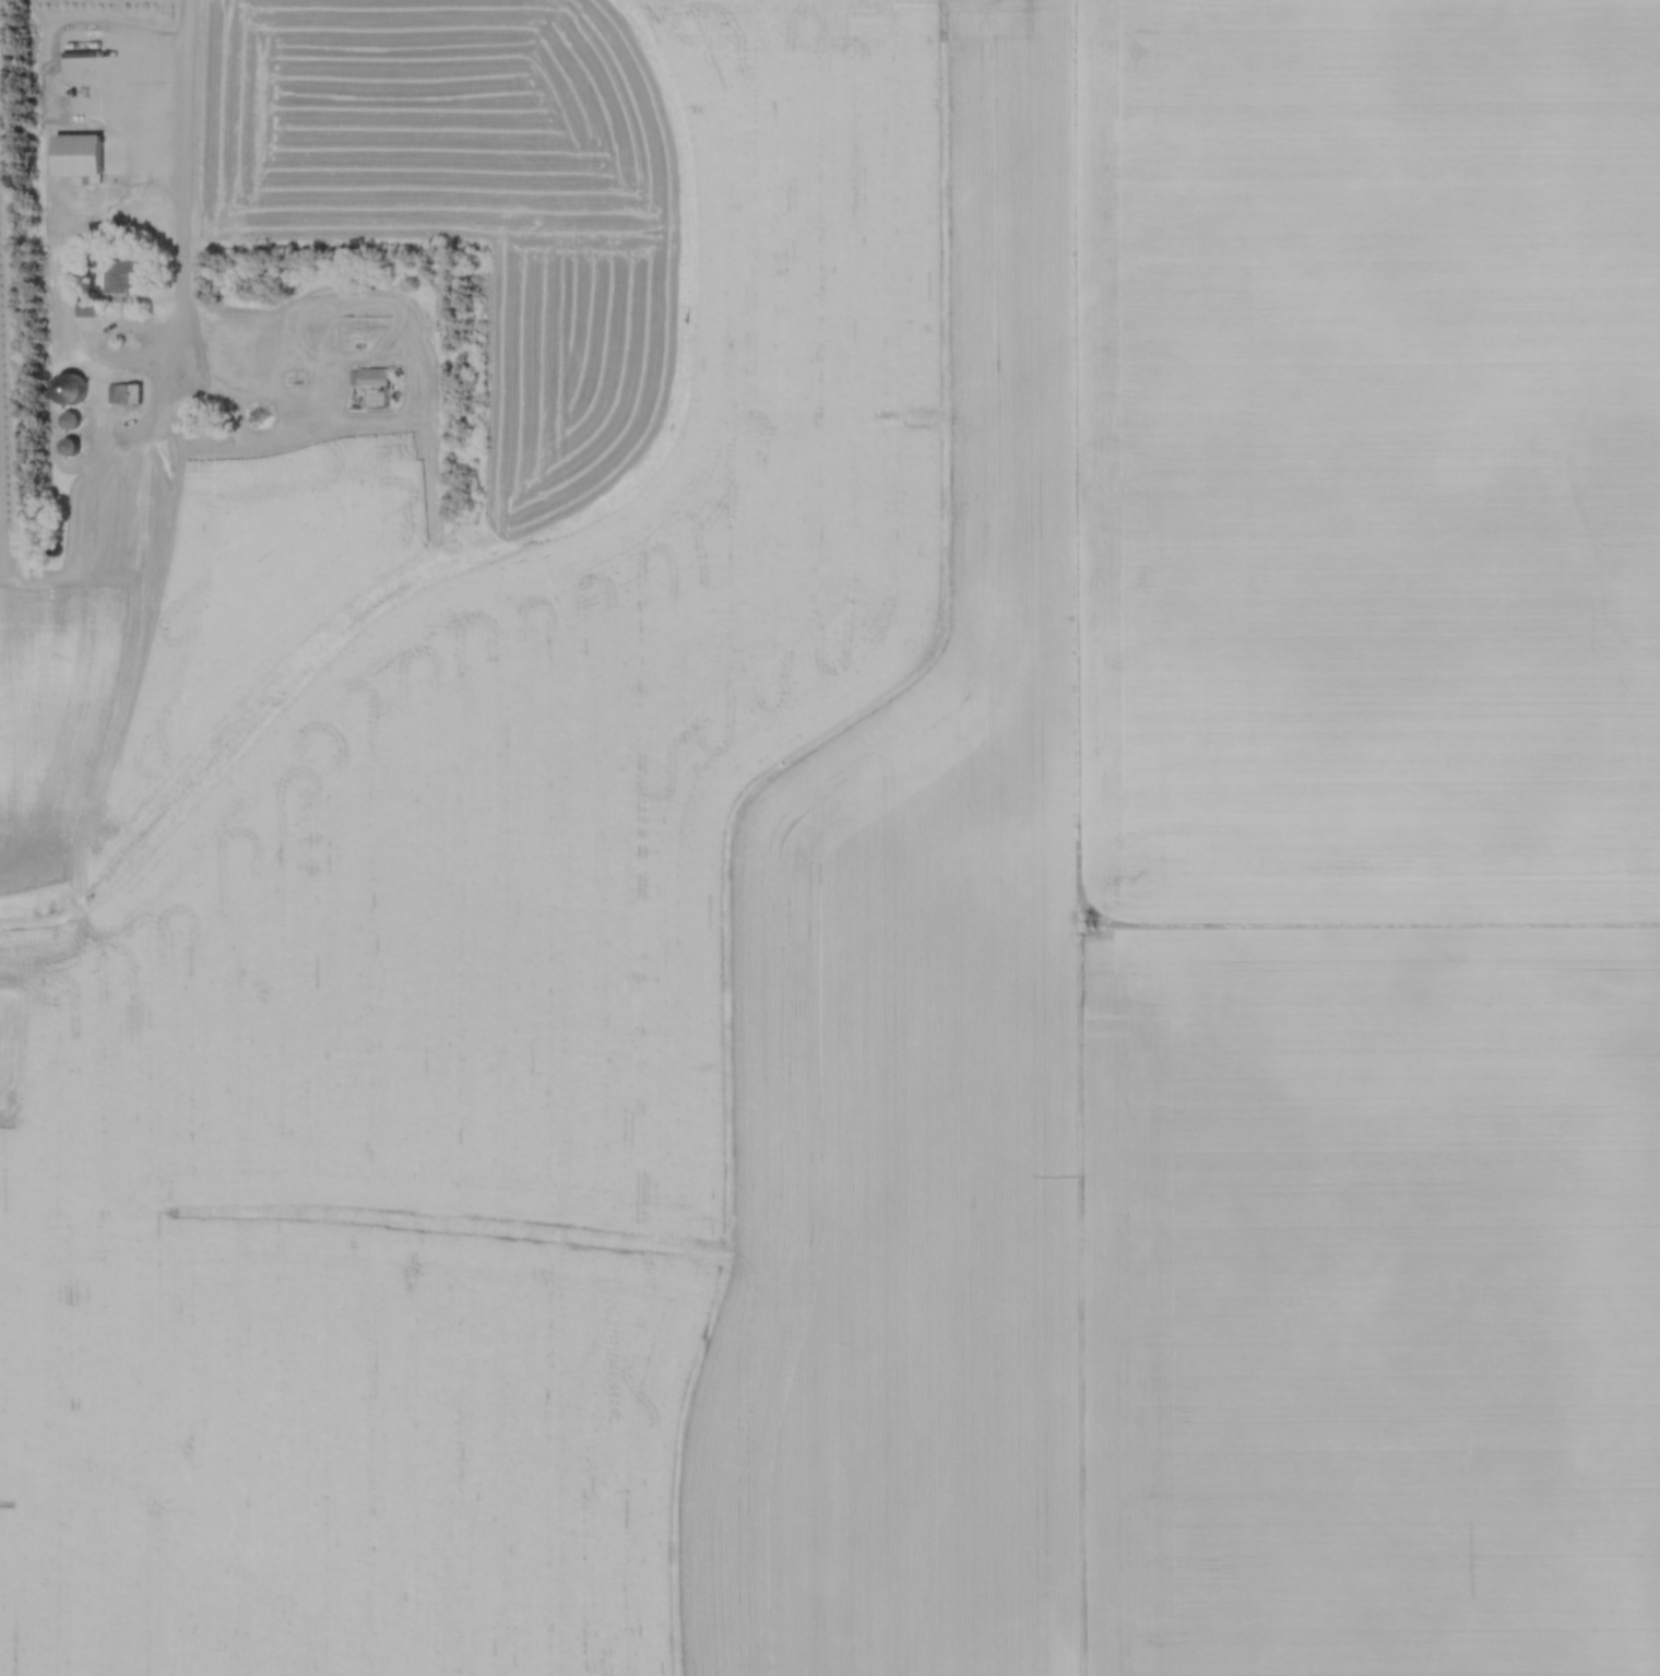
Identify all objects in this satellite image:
building: (84, 158)
road: (182, 175)
building: (127, 276)
building: (87, 305)
building: (370, 377)
building: (75, 392)
building: (128, 396)
building: (73, 421)
building: (73, 448)

